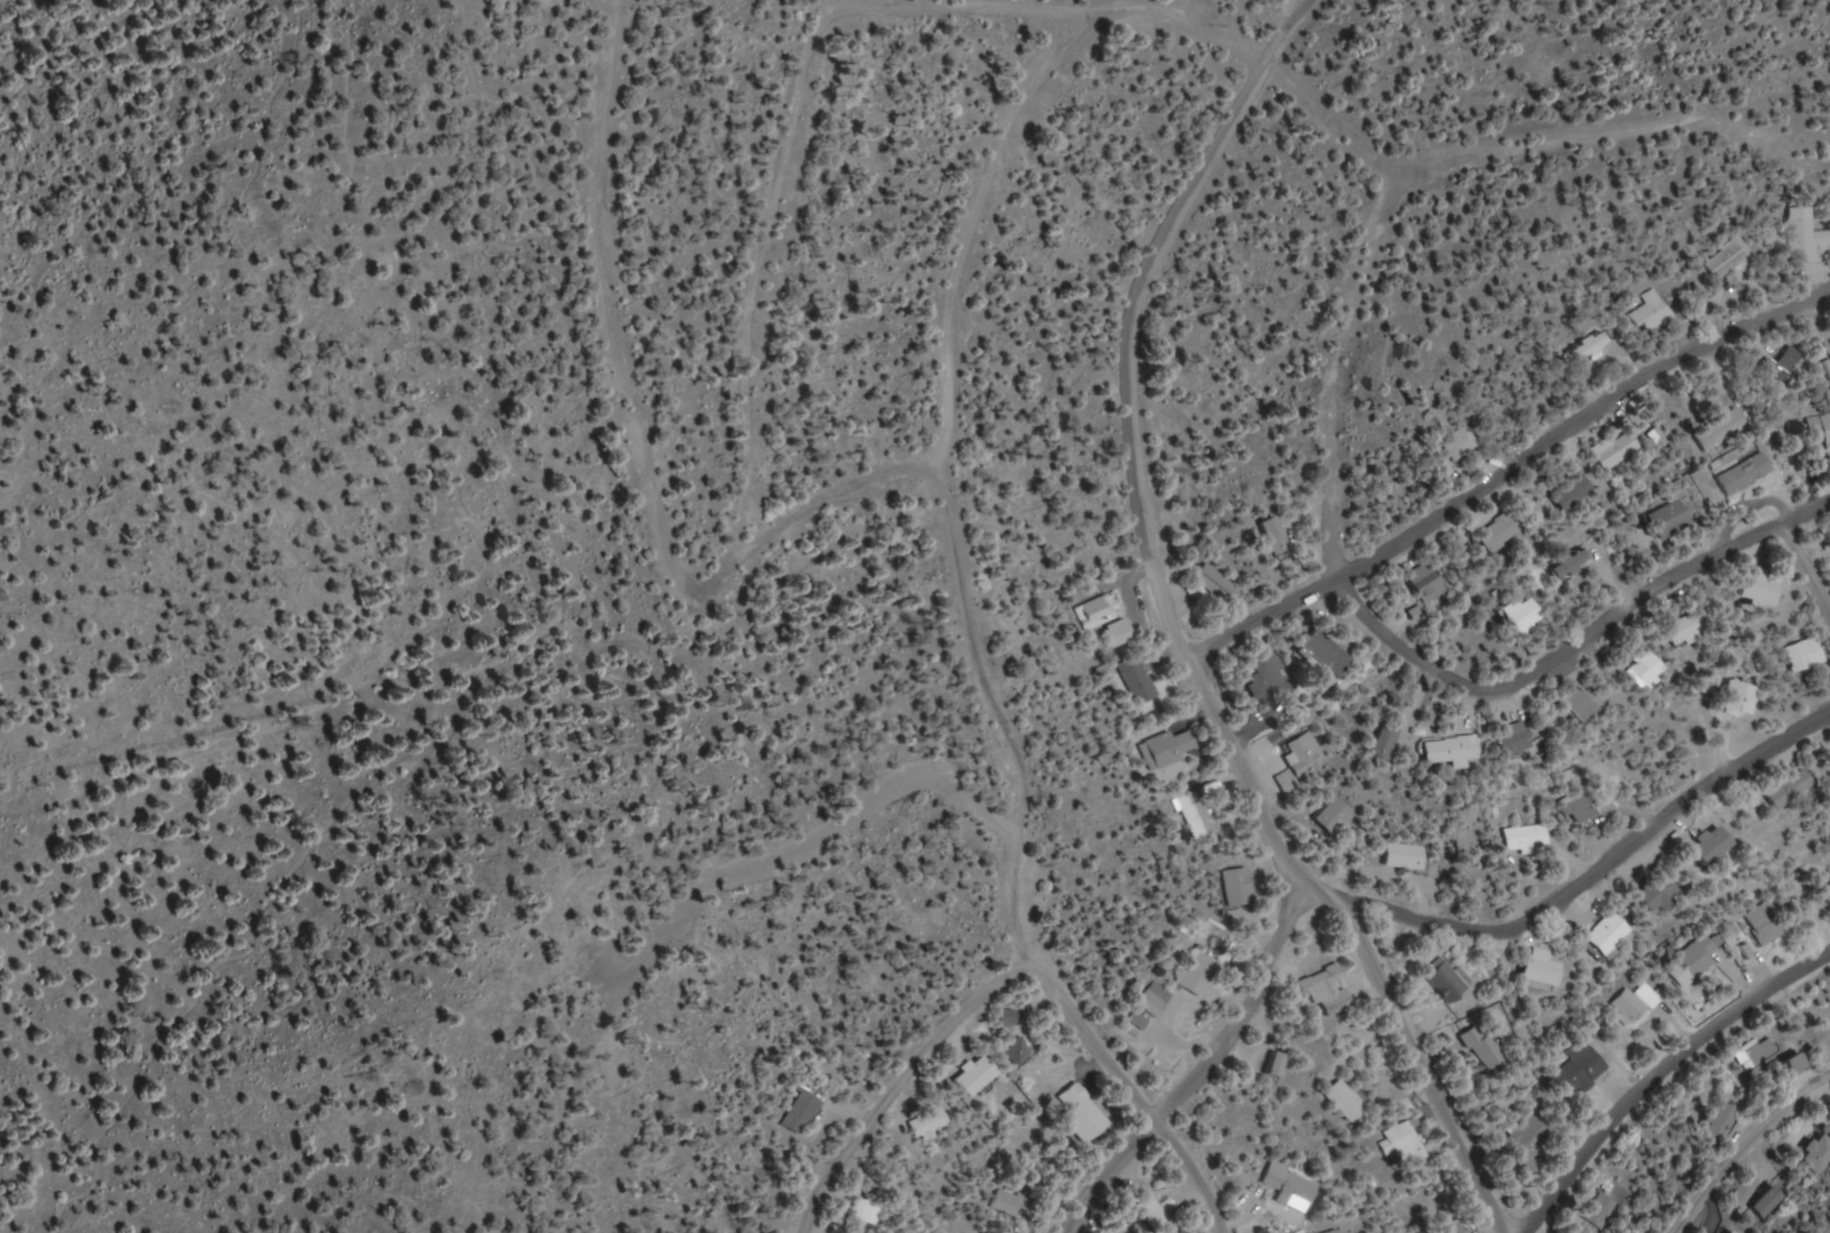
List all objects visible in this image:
road: (1080, 11)
building: (1807, 235)
building: (1733, 261)
building: (1656, 314)
road: (1342, 368)
building: (1724, 430)
building: (1825, 431)
building: (1463, 442)
road: (645, 446)
building: (1621, 448)
road: (1507, 471)
building: (1748, 473)
road: (946, 476)
building: (1575, 493)
building: (1672, 519)
building: (1499, 533)
building: (1279, 536)
building: (1572, 564)
road: (1806, 569)
building: (1428, 582)
building: (1224, 587)
building: (1762, 588)
building: (1102, 612)
building: (1526, 615)
building: (1691, 628)
road: (1179, 632)
building: (1121, 635)
road: (1579, 649)
building: (1329, 655)
building: (1807, 656)
building: (1650, 670)
road: (394, 674)
building: (1270, 675)
building: (1143, 685)
building: (1742, 700)
building: (1585, 706)
building: (1517, 740)
building: (1168, 749)
building: (1456, 752)
building: (1305, 754)
building: (1286, 780)
building: (1793, 790)
road: (69, 791)
building: (1581, 810)
building: (1334, 814)
building: (1527, 839)
building: (1714, 847)
building: (1405, 856)
building: (1237, 886)
building: (1826, 894)
building: (1661, 895)
road: (1385, 911)
building: (1765, 924)
building: (1610, 936)
building: (1700, 956)
building: (1544, 969)
building: (1199, 971)
building: (1445, 981)
building: (1329, 990)
building: (1156, 998)
building: (1637, 1004)
building: (1011, 1017)
building: (1141, 1019)
building: (1485, 1048)
building: (1760, 1051)
building: (1019, 1052)
building: (1278, 1063)
building: (1795, 1063)
building: (1579, 1071)
building: (980, 1074)
road: (1663, 1074)
road: (904, 1083)
road: (1135, 1092)
building: (1348, 1099)
building: (803, 1111)
building: (1082, 1111)
building: (933, 1122)
building: (1718, 1124)
building: (1528, 1140)
building: (1408, 1141)
road: (1744, 1147)
building: (1818, 1151)
building: (1294, 1185)
building: (1743, 1192)
building: (1768, 1202)
building: (1016, 1204)
building: (1600, 1210)
building: (866, 1214)
building: (1160, 1215)
building: (1735, 1232)

